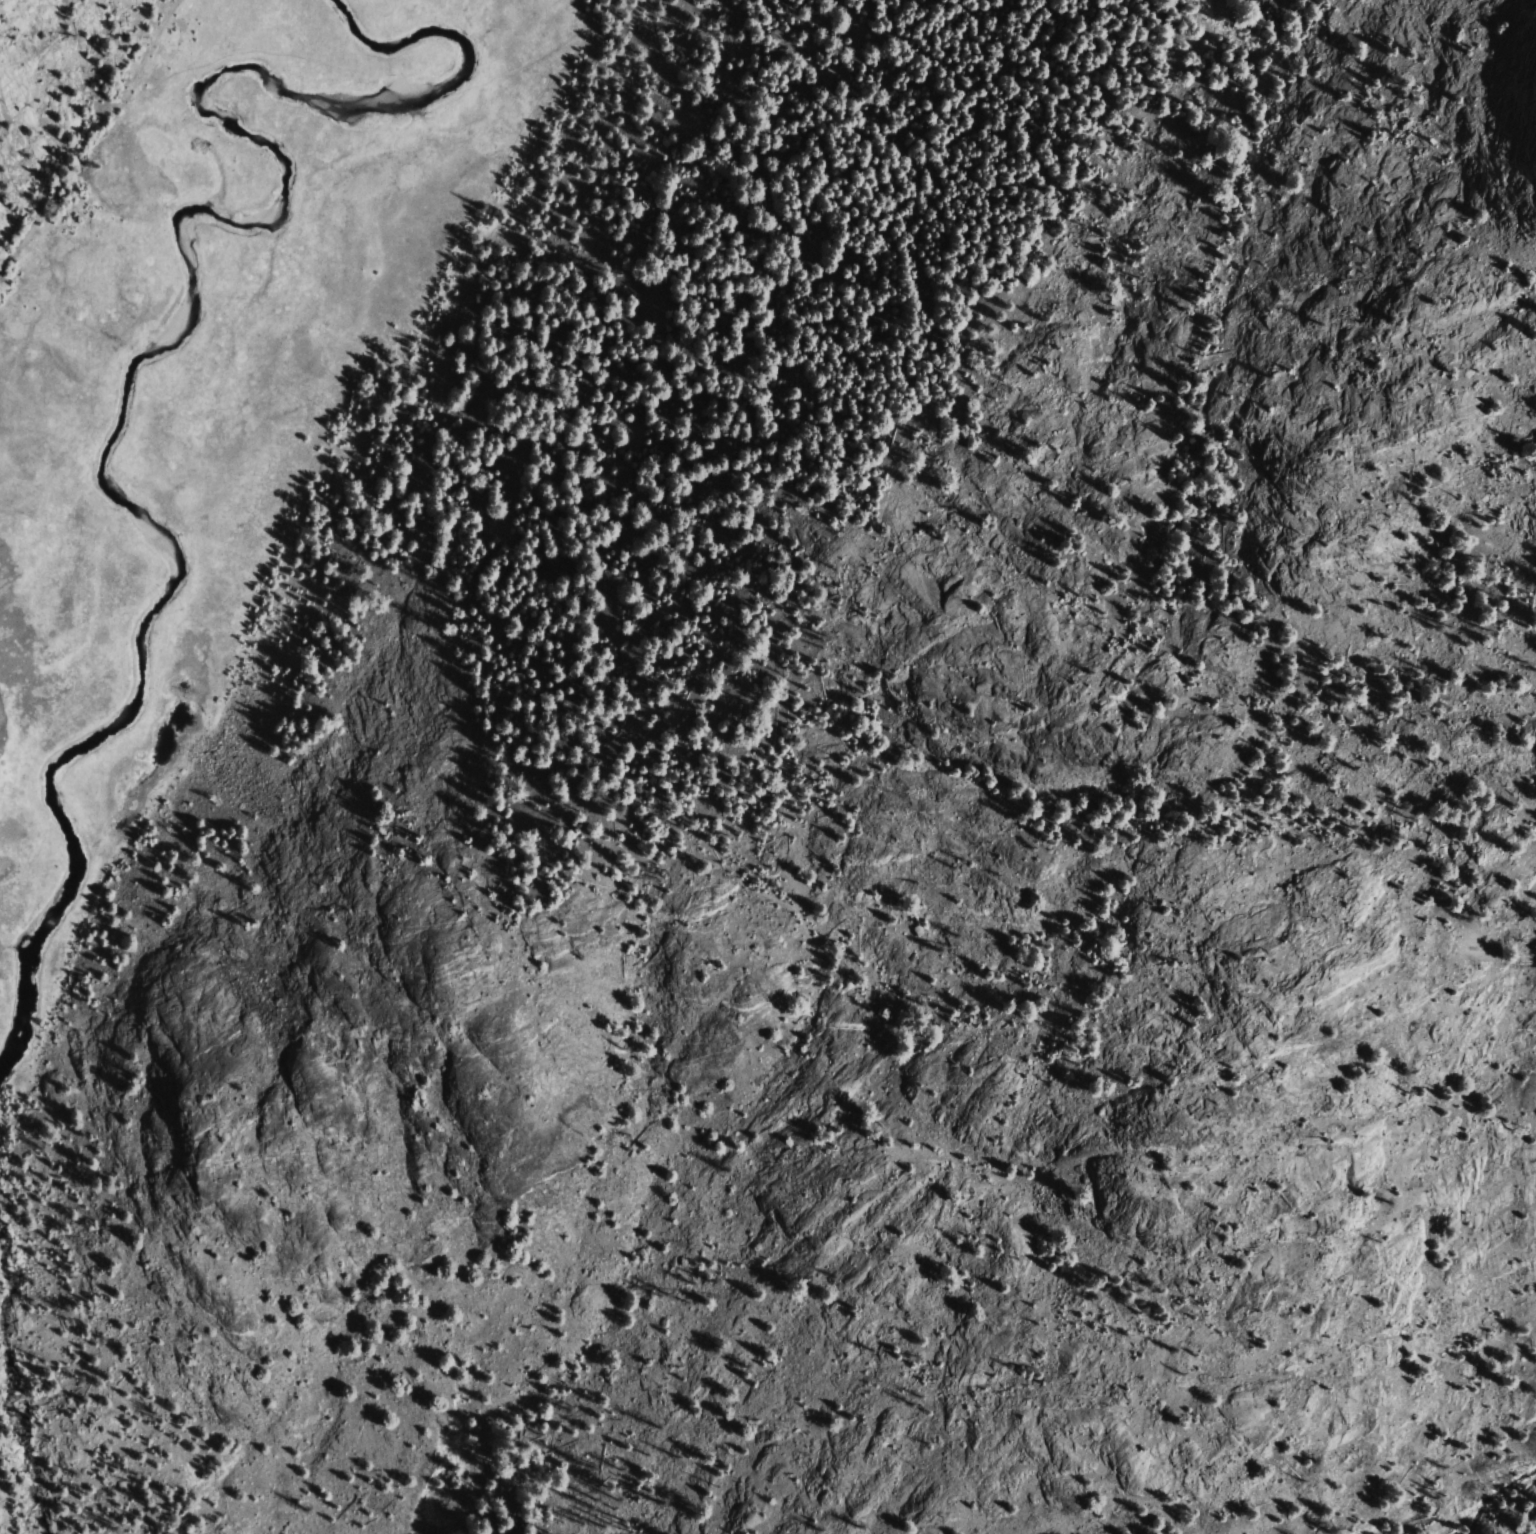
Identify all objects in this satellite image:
road: (144, 59)
road: (52, 192)
road: (659, 560)
road: (7, 1504)

